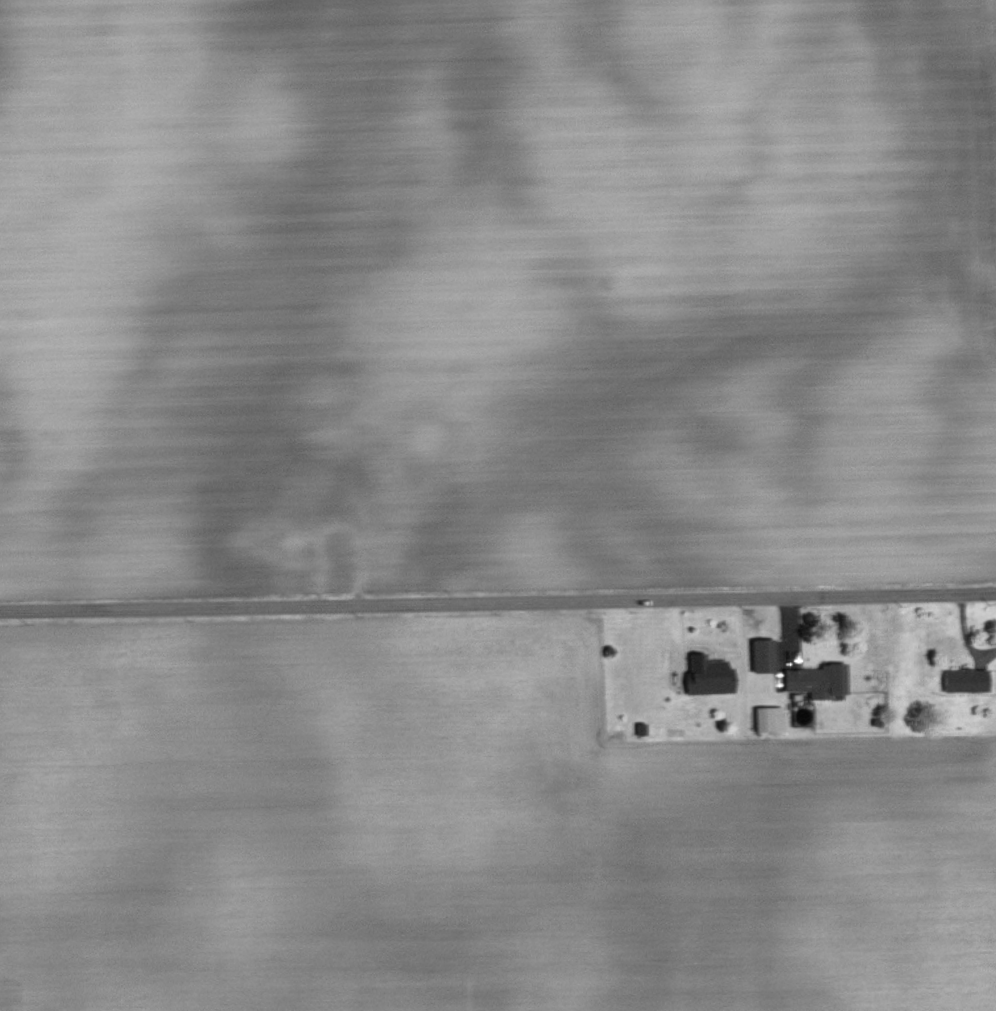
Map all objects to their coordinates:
road: (498, 601)
building: (760, 656)
building: (962, 679)
building: (813, 680)
building: (698, 683)

